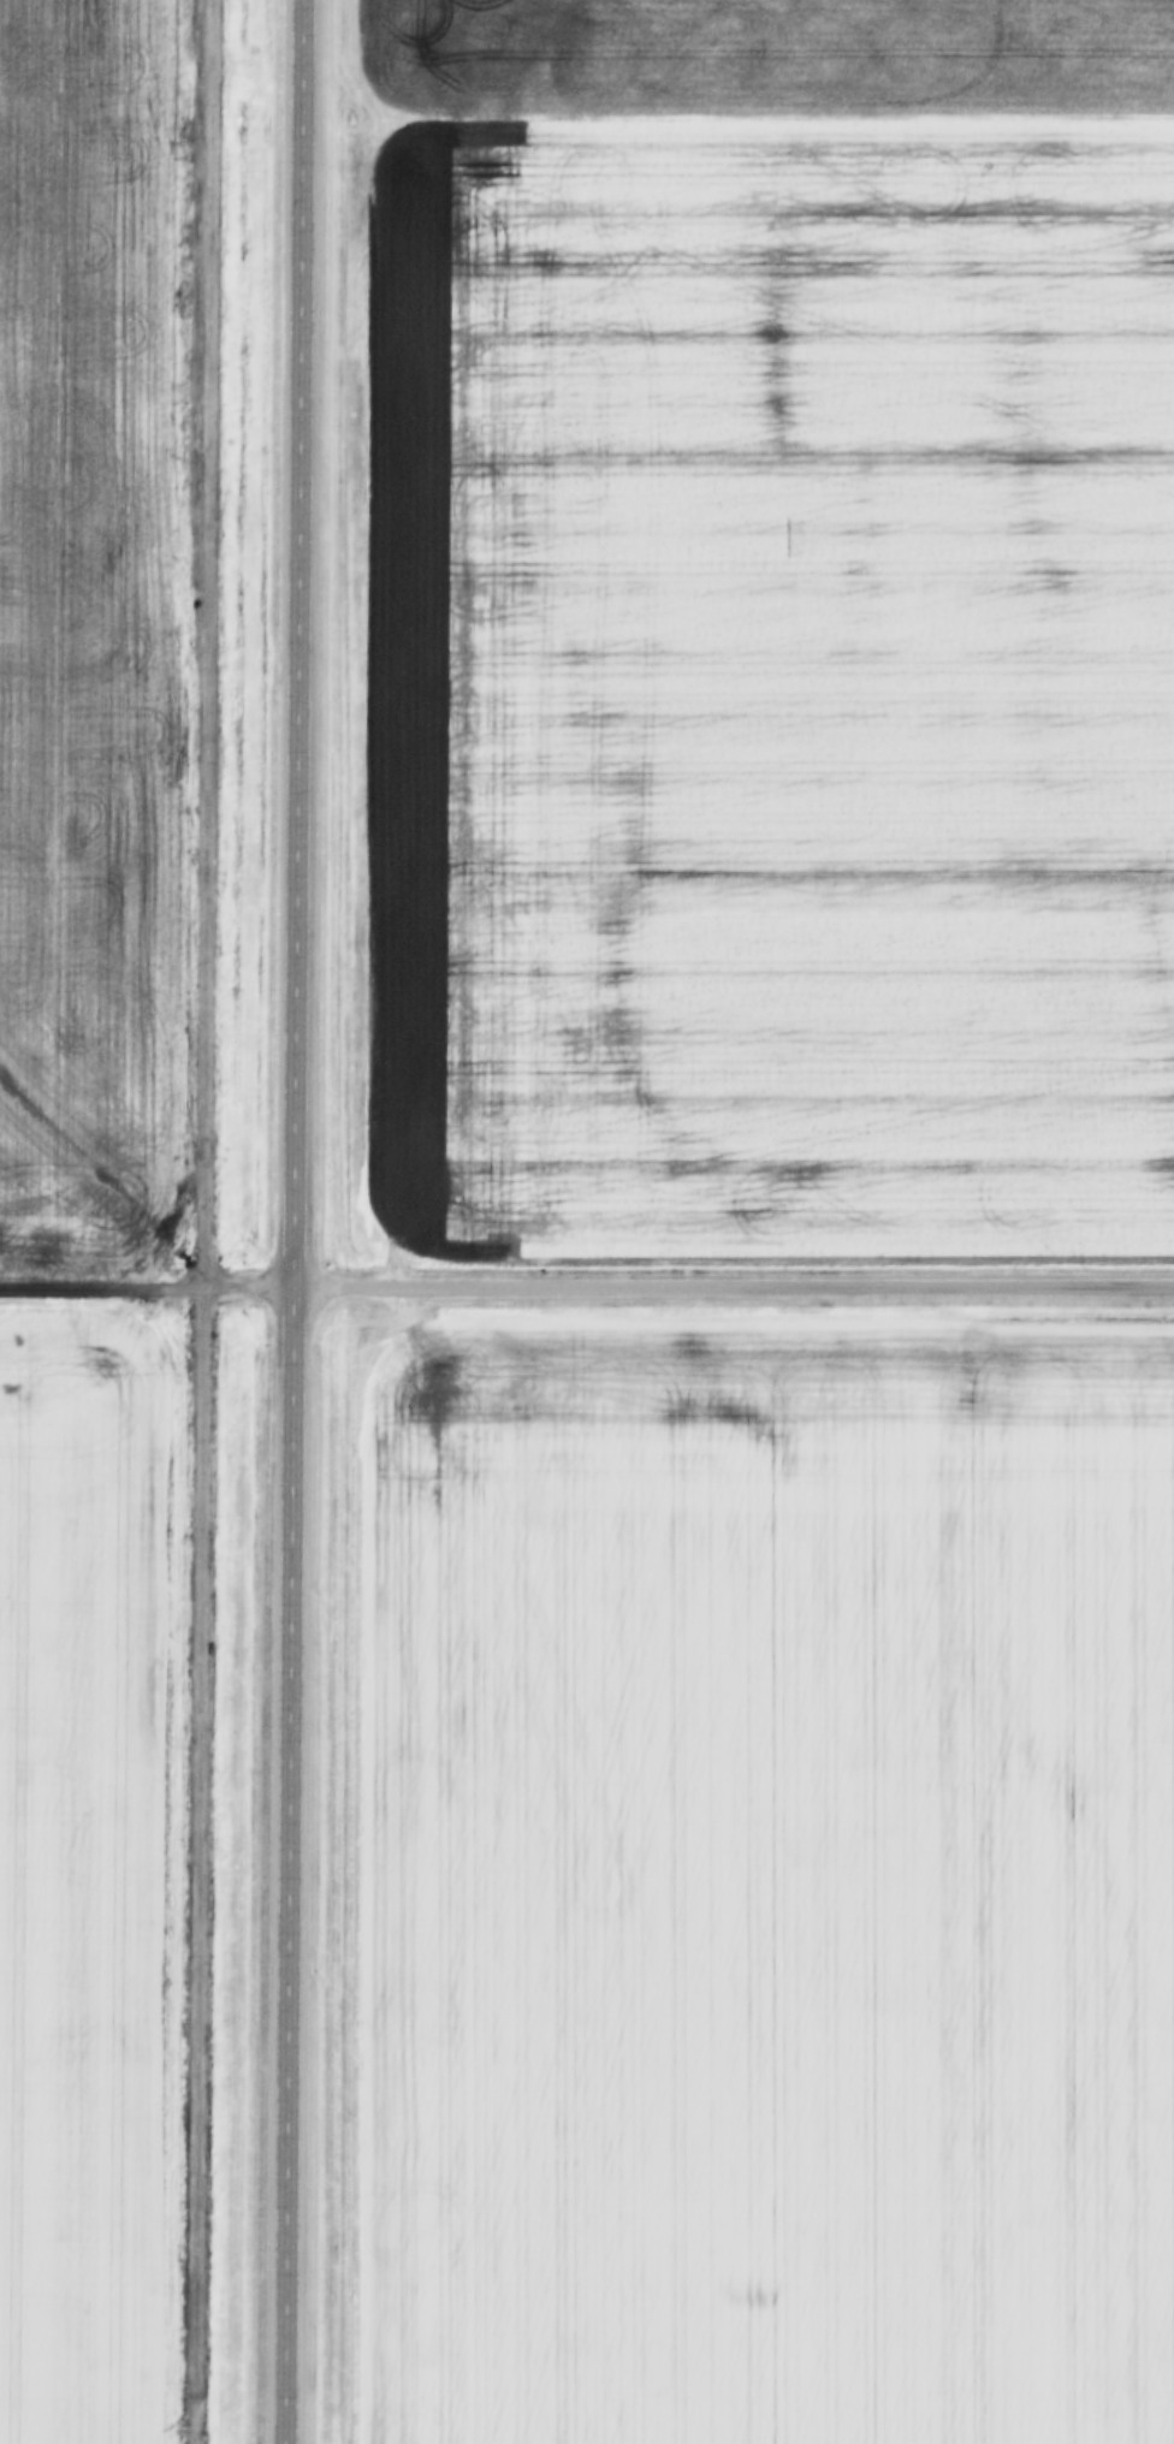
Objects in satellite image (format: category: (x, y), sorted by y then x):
railway: (200, 1221)
road: (291, 1222)
road: (731, 1276)
road: (146, 1288)

